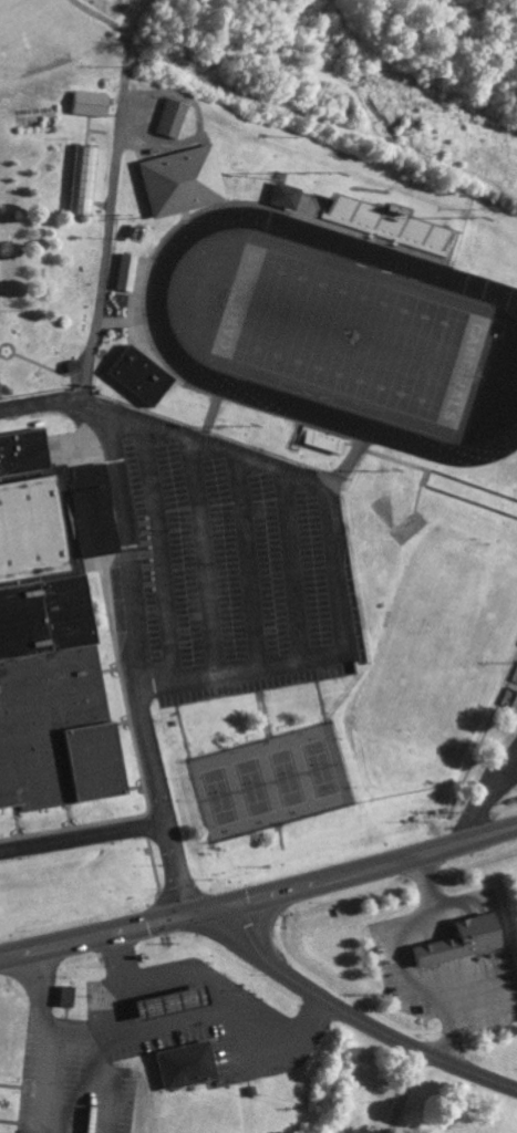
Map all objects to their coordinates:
building: (93, 103)
building: (175, 116)
building: (86, 178)
building: (186, 180)
building: (288, 195)
building: (392, 221)
building: (128, 271)
road: (136, 291)
park: (329, 328)
building: (146, 374)
road: (338, 568)
road: (133, 569)
parking lot: (238, 570)
building: (42, 647)
park: (270, 782)
road: (139, 828)
road: (259, 901)
building: (466, 940)
road: (120, 981)
building: (72, 996)
gas station: (167, 998)
building: (177, 1002)
road: (192, 1023)
road: (359, 1023)
road: (50, 1043)
building: (182, 1058)
building: (0, 1091)
road: (405, 1094)

